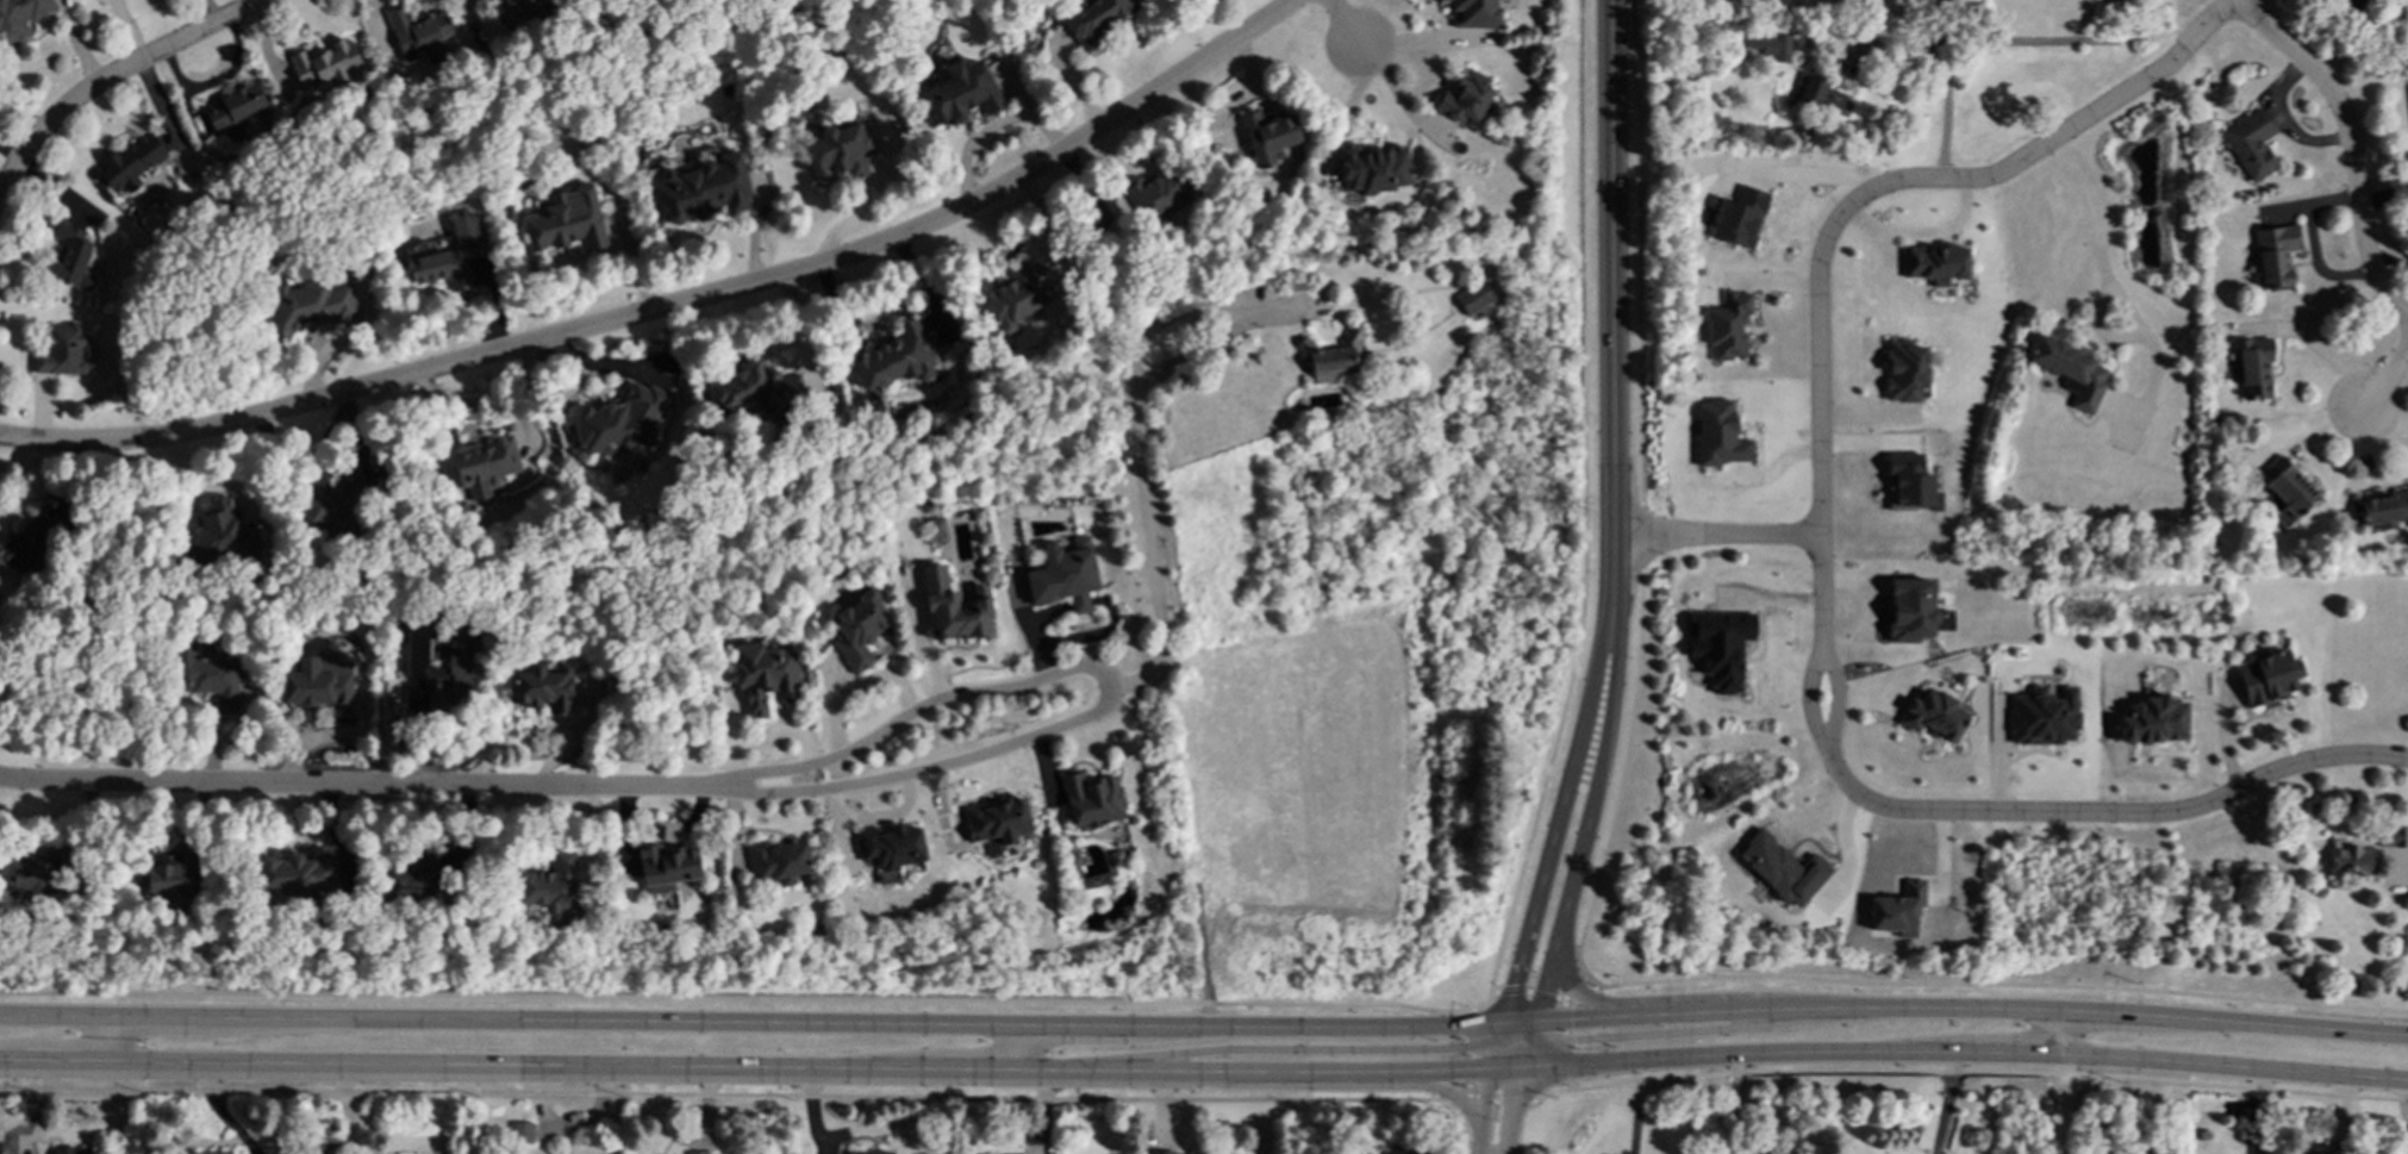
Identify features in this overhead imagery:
building: (523, 7)
building: (1473, 14)
building: (20, 18)
building: (1091, 20)
road: (1343, 25)
building: (417, 31)
building: (1771, 45)
building: (326, 64)
road: (113, 76)
road: (1941, 85)
building: (959, 93)
building: (1820, 94)
building: (1464, 96)
building: (236, 106)
road: (2282, 120)
building: (1268, 137)
building: (2250, 144)
road: (2351, 145)
building: (838, 151)
building: (129, 162)
building: (1371, 169)
building: (699, 189)
building: (1158, 193)
building: (1736, 216)
building: (566, 220)
road: (2314, 242)
building: (447, 254)
building: (2275, 255)
building: (70, 256)
building: (1934, 263)
road: (1611, 268)
road: (2109, 287)
building: (1472, 297)
building: (1011, 298)
road: (678, 305)
building: (307, 306)
building: (1729, 326)
building: (61, 350)
building: (897, 358)
building: (1329, 358)
building: (2251, 366)
building: (1904, 369)
building: (2072, 372)
road: (2385, 374)
building: (754, 387)
building: (619, 422)
building: (1718, 435)
road: (1140, 451)
building: (479, 464)
building: (1909, 484)
building: (2287, 488)
road: (1641, 500)
road: (1585, 503)
building: (327, 507)
building: (2384, 509)
building: (936, 530)
building: (222, 535)
building: (30, 541)
road: (1715, 541)
road: (1820, 553)
building: (1062, 576)
building: (954, 607)
building: (1910, 609)
building: (859, 629)
building: (1718, 647)
road: (1607, 650)
building: (765, 674)
building: (210, 676)
building: (2267, 676)
road: (1110, 685)
building: (317, 687)
building: (543, 687)
building: (1934, 715)
building: (2042, 716)
building: (2154, 721)
road: (400, 785)
building: (1091, 798)
building: (996, 819)
road: (1555, 824)
building: (2395, 836)
building: (888, 848)
building: (2350, 856)
building: (778, 861)
building: (665, 867)
building: (1783, 868)
building: (23, 873)
building: (298, 874)
road: (2402, 874)
building: (169, 877)
building: (412, 878)
building: (550, 886)
road: (1567, 892)
building: (1898, 910)
road: (1518, 959)
road: (2004, 983)
road: (1582, 992)
road: (748, 997)
road: (1643, 999)
road: (1916, 1005)
road: (1564, 1008)
road: (2098, 1011)
road: (1657, 1013)
road: (52, 1015)
road: (150, 1016)
road: (456, 1018)
road: (862, 1021)
road: (1065, 1023)
road: (2273, 1023)
road: (1520, 1024)
traffic signals: (1540, 1024)
road: (1310, 1025)
traffic signals: (1501, 1025)
road: (2057, 1030)
road: (1498, 1034)
road: (1520, 1036)
road: (105, 1037)
road: (1632, 1037)
traffic signals: (1497, 1042)
road: (1008, 1046)
road: (1531, 1046)
road: (1305, 1048)
traffic signals: (1531, 1049)
road: (1743, 1050)
road: (2010, 1052)
road: (1493, 1055)
road: (12, 1056)
road: (64, 1058)
road: (516, 1062)
road: (2232, 1066)
road: (966, 1067)
traffic signals: (1524, 1067)
road: (1021, 1068)
road: (1077, 1068)
road: (1508, 1068)
road: (1304, 1069)
traffic signals: (1491, 1069)
road: (1970, 1072)
road: (1383, 1085)
road: (1468, 1085)
road: (728, 1093)
road: (1512, 1102)
road: (1948, 1102)
road: (1461, 1103)
road: (2406, 1105)
road: (1484, 1111)
building: (522, 1133)
road: (1506, 1146)
building: (0, 1147)
building: (73, 1149)
building: (210, 1152)
building: (697, 1153)
building: (869, 1153)
building: (1187, 1153)
building: (1386, 1153)
building: (2301, 1153)

